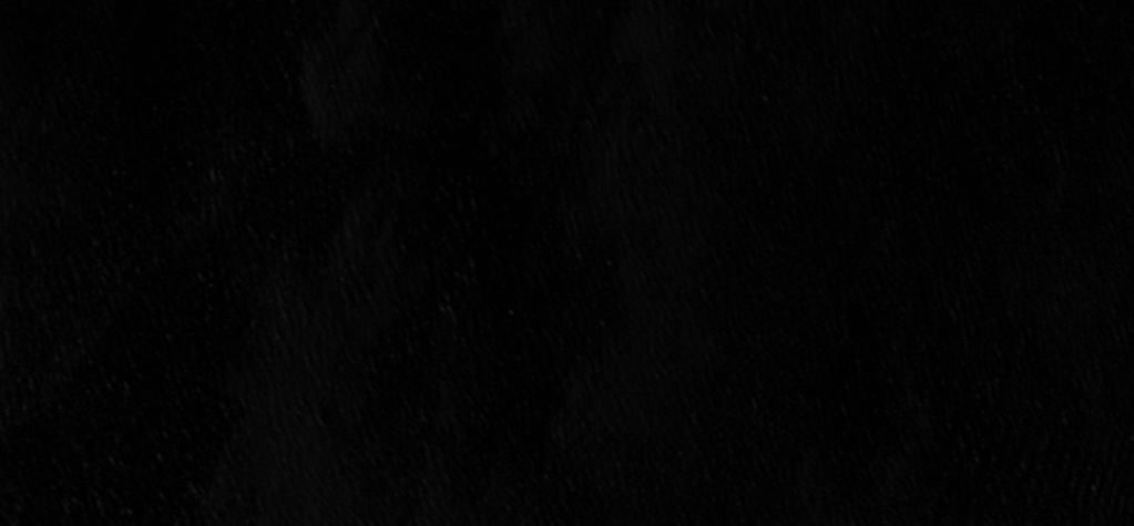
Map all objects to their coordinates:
river: (966, 381)

